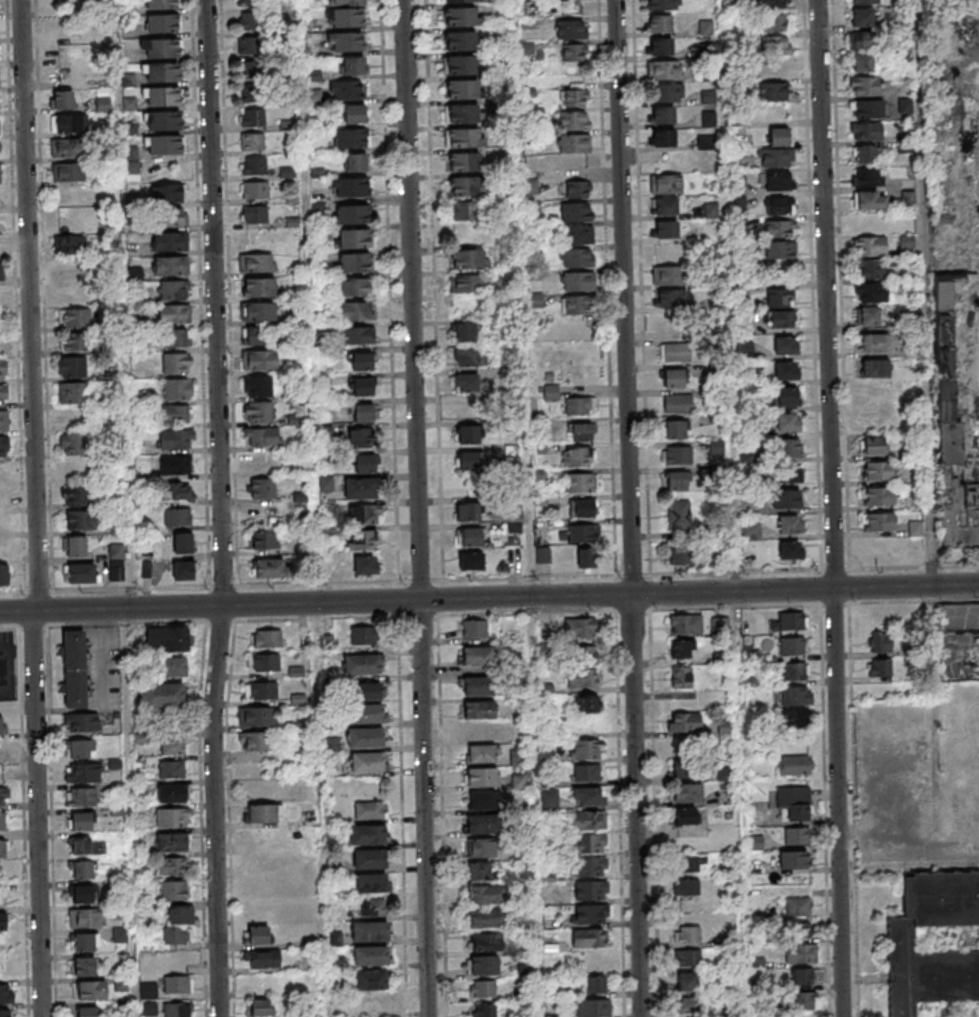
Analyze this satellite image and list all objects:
park: (942, 0)
building: (459, 1)
building: (245, 2)
building: (865, 2)
building: (773, 3)
building: (162, 4)
building: (663, 5)
building: (346, 13)
building: (462, 17)
road: (616, 17)
building: (861, 17)
building: (248, 20)
building: (162, 23)
building: (659, 23)
building: (775, 23)
building: (571, 29)
building: (462, 40)
building: (861, 41)
building: (346, 42)
building: (248, 44)
building: (660, 45)
building: (775, 45)
building: (162, 48)
building: (574, 53)
building: (862, 63)
building: (352, 65)
building: (463, 65)
building: (663, 69)
building: (775, 69)
building: (251, 70)
building: (162, 72)
building: (866, 86)
building: (462, 89)
building: (346, 90)
building: (251, 92)
building: (670, 92)
building: (777, 92)
building: (575, 94)
building: (162, 96)
building: (708, 96)
building: (61, 99)
building: (867, 109)
building: (353, 113)
building: (464, 113)
building: (661, 115)
building: (251, 117)
building: (708, 118)
building: (164, 120)
building: (574, 120)
building: (66, 122)
building: (867, 132)
building: (779, 136)
building: (352, 137)
building: (464, 137)
building: (663, 137)
building: (251, 141)
building: (706, 142)
building: (574, 143)
building: (165, 144)
building: (66, 147)
building: (869, 154)
building: (775, 157)
building: (465, 161)
building: (357, 162)
building: (253, 165)
building: (67, 171)
building: (868, 176)
building: (776, 180)
building: (666, 184)
building: (468, 186)
building: (530, 186)
building: (350, 187)
building: (577, 188)
building: (254, 189)
building: (167, 193)
building: (870, 199)
building: (739, 200)
building: (779, 205)
building: (664, 206)
building: (466, 210)
building: (576, 212)
building: (254, 214)
building: (350, 214)
building: (173, 217)
building: (779, 228)
building: (665, 229)
building: (577, 235)
building: (354, 238)
building: (172, 241)
building: (68, 244)
building: (870, 245)
building: (781, 250)
building: (578, 257)
building: (469, 258)
building: (355, 262)
building: (257, 263)
building: (170, 266)
building: (871, 268)
building: (1, 271)
building: (668, 275)
building: (578, 281)
building: (466, 283)
building: (257, 287)
building: (353, 287)
road: (642, 287)
road: (607, 288)
building: (173, 290)
road: (435, 290)
building: (942, 290)
road: (391, 291)
building: (870, 292)
road: (922, 292)
road: (201, 293)
road: (229, 293)
road: (726, 296)
building: (781, 297)
road: (520, 298)
building: (670, 298)
road: (413, 300)
road: (308, 301)
road: (813, 302)
road: (842, 302)
road: (123, 304)
building: (576, 305)
building: (259, 311)
building: (357, 311)
building: (175, 313)
road: (625, 315)
building: (867, 316)
building: (75, 317)
building: (0, 319)
building: (783, 319)
building: (465, 331)
building: (358, 335)
building: (256, 336)
building: (175, 339)
building: (75, 341)
building: (869, 343)
building: (786, 345)
building: (675, 352)
building: (465, 356)
building: (259, 359)
building: (361, 361)
building: (176, 364)
building: (71, 367)
building: (874, 368)
building: (3, 371)
building: (786, 371)
building: (672, 378)
building: (466, 382)
building: (257, 386)
building: (363, 386)
building: (177, 389)
building: (73, 392)
building: (945, 395)
building: (4, 396)
building: (786, 397)
building: (677, 403)
building: (579, 405)
building: (257, 411)
building: (362, 413)
building: (174, 415)
building: (4, 422)
building: (788, 423)
building: (673, 429)
building: (582, 432)
building: (467, 433)
building: (261, 436)
building: (364, 436)
building: (176, 439)
building: (73, 444)
building: (872, 446)
building: (4, 447)
building: (789, 448)
building: (677, 454)
building: (578, 457)
building: (470, 460)
building: (364, 463)
building: (174, 465)
building: (877, 471)
building: (790, 474)
building: (676, 480)
building: (580, 483)
building: (326, 484)
building: (262, 487)
building: (361, 489)
building: (177, 492)
building: (970, 494)
building: (75, 495)
building: (877, 497)
building: (788, 498)
road: (37, 508)
road: (221, 508)
building: (582, 508)
road: (835, 508)
building: (467, 511)
building: (956, 513)
building: (679, 514)
building: (365, 515)
building: (177, 517)
building: (79, 520)
building: (878, 522)
building: (790, 524)
building: (915, 530)
building: (751, 532)
building: (583, 533)
building: (469, 537)
building: (262, 539)
building: (363, 540)
building: (181, 542)
building: (74, 546)
building: (791, 550)
building: (680, 555)
building: (584, 558)
building: (471, 561)
building: (365, 565)
building: (271, 568)
building: (182, 570)
building: (116, 571)
building: (81, 573)
building: (4, 574)
road: (689, 574)
road: (806, 589)
road: (105, 590)
road: (525, 597)
road: (239, 604)
road: (795, 605)
road: (209, 606)
road: (525, 613)
road: (319, 619)
building: (793, 620)
building: (680, 624)
building: (582, 627)
building: (474, 629)
building: (364, 636)
building: (265, 638)
building: (165, 639)
building: (880, 642)
building: (792, 645)
building: (680, 649)
building: (583, 655)
building: (477, 657)
building: (263, 662)
building: (361, 665)
building: (172, 666)
building: (880, 667)
building: (74, 669)
building: (794, 671)
building: (681, 676)
building: (582, 678)
building: (476, 687)
road: (17, 690)
building: (261, 691)
building: (366, 691)
building: (161, 694)
building: (795, 696)
road: (400, 704)
building: (585, 704)
building: (478, 710)
building: (369, 714)
building: (256, 717)
building: (797, 718)
building: (683, 722)
building: (81, 723)
building: (1, 726)
building: (366, 738)
building: (255, 742)
building: (171, 745)
building: (79, 748)
building: (586, 750)
building: (482, 753)
building: (367, 762)
building: (1, 765)
building: (793, 765)
building: (685, 768)
building: (171, 770)
building: (83, 772)
building: (587, 773)
building: (479, 776)
building: (518, 781)
building: (687, 793)
building: (171, 794)
building: (81, 796)
building: (588, 796)
building: (4, 797)
building: (549, 799)
building: (483, 800)
building: (794, 802)
road: (741, 804)
road: (635, 805)
road: (532, 806)
road: (423, 808)
road: (319, 809)
building: (369, 811)
road: (824, 811)
road: (855, 811)
road: (128, 813)
building: (261, 814)
road: (443, 816)
building: (685, 816)
building: (172, 819)
building: (587, 820)
building: (80, 821)
building: (2, 822)
building: (482, 823)
building: (368, 835)
building: (797, 836)
building: (589, 843)
building: (172, 844)
building: (80, 845)
building: (480, 848)
building: (3, 849)
building: (793, 859)
building: (369, 860)
building: (690, 863)
building: (170, 867)
building: (589, 867)
building: (81, 869)
building: (479, 871)
building: (370, 883)
building: (686, 887)
building: (591, 889)
building: (172, 891)
building: (81, 894)
building: (487, 894)
building: (372, 906)
building: (798, 906)
building: (591, 913)
building: (181, 915)
building: (486, 917)
building: (84, 918)
building: (2, 921)
building: (371, 931)
building: (119, 934)
building: (687, 934)
building: (176, 935)
building: (257, 936)
building: (588, 937)
building: (83, 941)
building: (483, 941)
building: (903, 942)
building: (801, 953)
building: (372, 955)
building: (690, 957)
building: (261, 959)
building: (483, 964)
building: (83, 966)
building: (803, 976)
building: (370, 980)
building: (687, 981)
building: (177, 984)
building: (594, 985)
building: (483, 988)
building: (91, 990)
building: (148, 991)
building: (5, 993)
building: (804, 1001)
building: (371, 1005)
building: (687, 1005)
building: (260, 1007)
building: (593, 1008)
building: (148, 1010)
building: (176, 1010)
building: (484, 1010)
building: (86, 1011)
building: (4, 1013)

